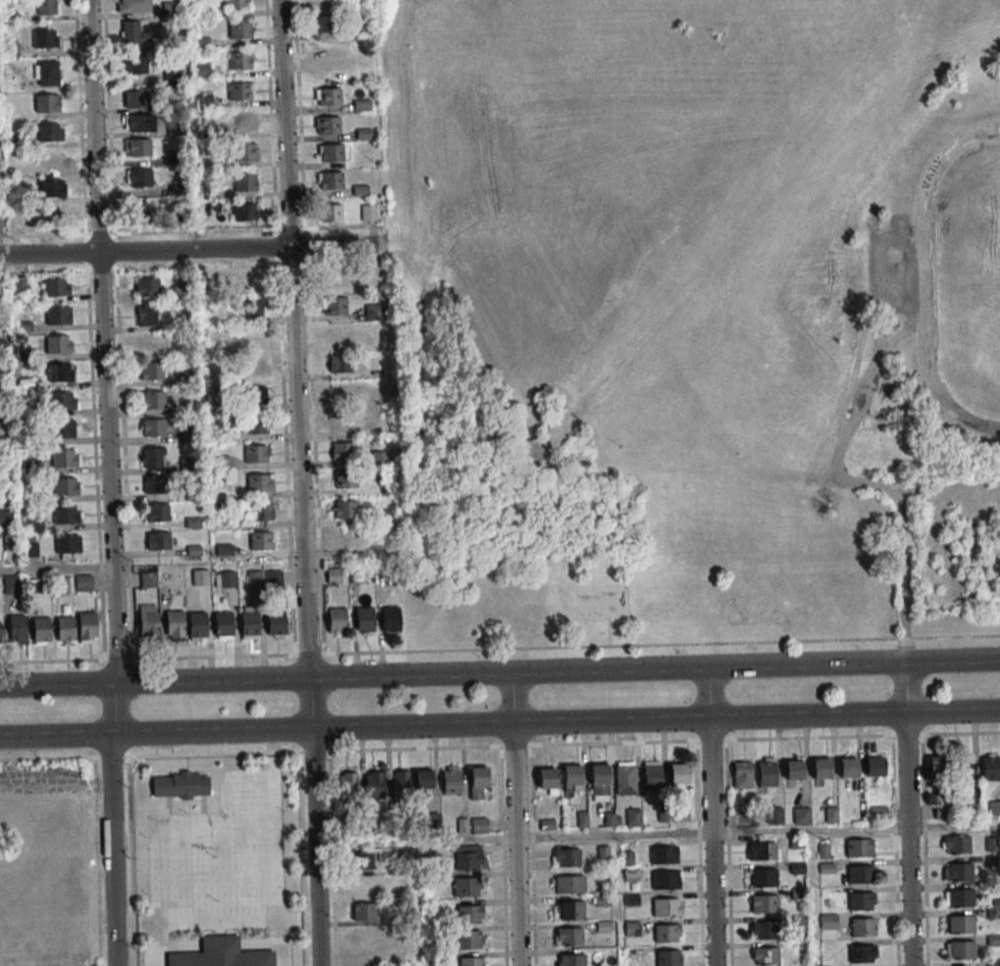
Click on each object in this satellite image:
building: (235, 4)
building: (133, 6)
building: (47, 7)
building: (322, 24)
building: (239, 30)
building: (133, 33)
building: (47, 38)
building: (324, 53)
building: (240, 61)
building: (135, 65)
building: (46, 72)
building: (240, 91)
building: (328, 96)
building: (137, 99)
building: (47, 103)
building: (243, 121)
building: (139, 122)
road: (283, 124)
building: (327, 125)
building: (50, 132)
building: (364, 134)
building: (137, 147)
building: (247, 152)
building: (330, 153)
building: (49, 160)
building: (138, 178)
building: (329, 181)
building: (246, 182)
building: (53, 188)
building: (138, 212)
building: (245, 212)
building: (368, 212)
building: (331, 213)
building: (53, 216)
road: (335, 247)
road: (144, 252)
road: (925, 278)
building: (336, 279)
building: (251, 280)
building: (20, 284)
building: (56, 287)
building: (146, 287)
building: (335, 305)
building: (254, 308)
building: (372, 312)
building: (58, 315)
building: (146, 316)
track: (925, 317)
park: (693, 318)
building: (336, 335)
building: (251, 337)
road: (104, 343)
building: (150, 343)
building: (58, 344)
building: (339, 364)
building: (254, 366)
building: (151, 371)
building: (62, 372)
building: (339, 392)
building: (255, 397)
building: (62, 400)
building: (153, 400)
building: (340, 422)
building: (256, 425)
building: (153, 427)
building: (64, 431)
building: (341, 451)
building: (256, 454)
building: (152, 457)
building: (66, 458)
building: (344, 480)
road: (856, 481)
building: (259, 483)
building: (154, 485)
building: (66, 486)
building: (344, 509)
building: (157, 512)
building: (262, 512)
building: (66, 514)
building: (384, 514)
building: (6, 518)
building: (33, 523)
building: (343, 539)
building: (158, 541)
building: (262, 541)
building: (67, 546)
building: (196, 550)
road: (57, 567)
building: (334, 575)
building: (356, 575)
building: (200, 577)
building: (225, 579)
building: (148, 580)
building: (84, 583)
building: (11, 584)
building: (62, 584)
building: (34, 585)
road: (307, 607)
building: (390, 619)
building: (148, 620)
building: (365, 620)
building: (337, 622)
building: (276, 623)
building: (250, 624)
building: (174, 625)
building: (223, 625)
building: (197, 626)
building: (87, 627)
building: (17, 629)
building: (41, 630)
building: (66, 630)
road: (609, 631)
building: (0, 634)
road: (499, 674)
road: (906, 687)
road: (710, 692)
road: (512, 697)
road: (499, 720)
road: (499, 746)
building: (875, 767)
building: (938, 767)
building: (849, 768)
building: (963, 768)
building: (991, 768)
building: (822, 769)
building: (794, 770)
building: (679, 774)
building: (767, 774)
building: (572, 775)
building: (743, 775)
building: (479, 777)
building: (548, 778)
building: (599, 778)
building: (653, 778)
building: (424, 780)
building: (451, 780)
building: (625, 780)
building: (401, 782)
building: (375, 783)
building: (348, 784)
building: (180, 785)
building: (994, 807)
building: (941, 811)
building: (878, 812)
building: (775, 815)
building: (801, 815)
building: (634, 818)
road: (111, 825)
building: (462, 825)
building: (479, 825)
road: (757, 832)
road: (171, 835)
road: (910, 837)
road: (713, 840)
building: (991, 841)
road: (516, 842)
building: (957, 845)
road: (276, 846)
building: (859, 849)
road: (924, 850)
building: (762, 852)
road: (699, 853)
road: (728, 853)
building: (664, 855)
building: (470, 857)
building: (567, 858)
building: (362, 861)
building: (826, 868)
building: (960, 873)
building: (631, 874)
building: (861, 875)
building: (764, 878)
building: (665, 881)
building: (397, 883)
building: (570, 885)
building: (364, 886)
building: (469, 886)
building: (961, 899)
building: (861, 903)
building: (765, 904)
building: (666, 908)
building: (571, 911)
building: (364, 912)
building: (470, 915)
road: (215, 921)
building: (828, 921)
building: (962, 925)
building: (632, 928)
building: (864, 928)
building: (762, 930)
building: (667, 933)
building: (363, 937)
building: (569, 937)
building: (469, 940)
building: (997, 940)
building: (961, 951)
building: (221, 954)
building: (862, 955)
building: (766, 956)
building: (668, 957)
building: (572, 960)
building: (471, 962)

